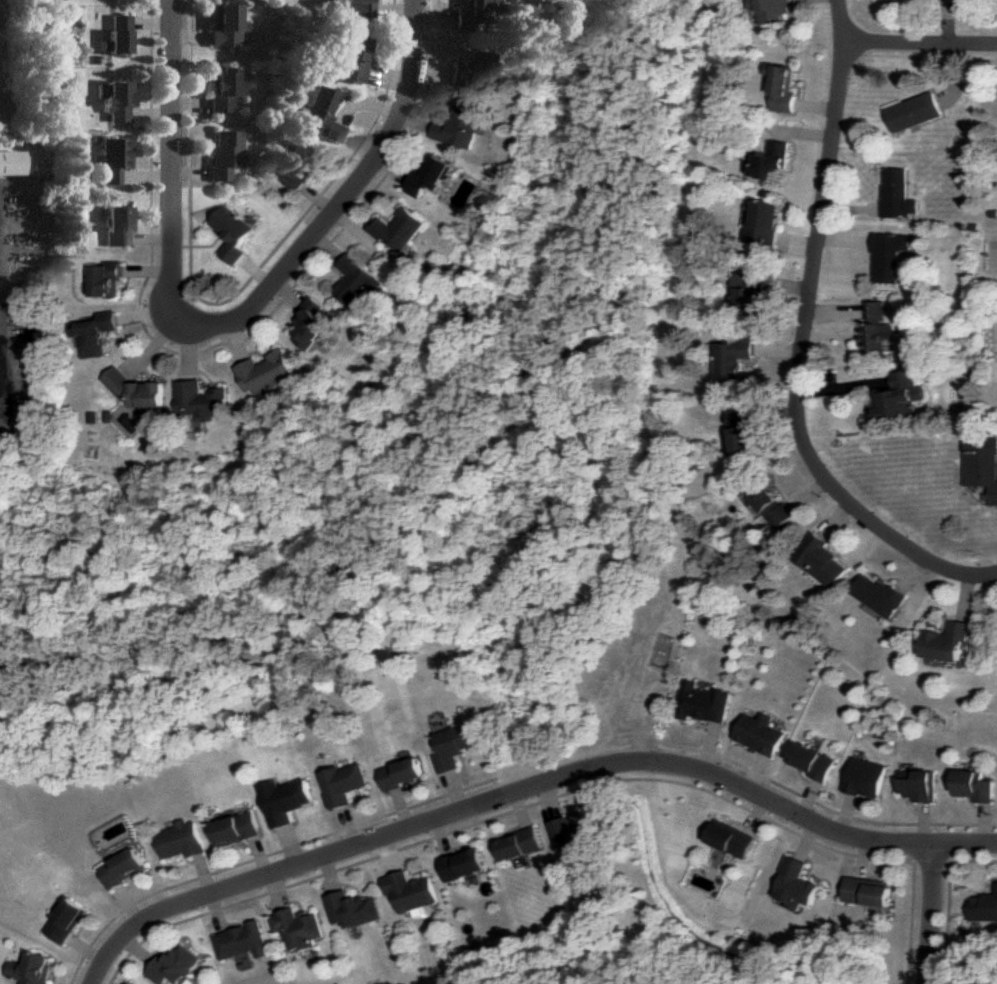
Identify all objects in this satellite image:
building: (357, 9)
building: (776, 11)
building: (474, 17)
building: (227, 28)
building: (119, 37)
road: (922, 41)
building: (352, 61)
building: (473, 72)
building: (222, 88)
building: (785, 88)
building: (118, 103)
building: (914, 112)
building: (324, 114)
building: (460, 128)
building: (226, 155)
road: (170, 157)
building: (116, 160)
building: (772, 162)
building: (10, 164)
building: (293, 169)
building: (433, 178)
building: (898, 196)
road: (342, 198)
building: (115, 225)
building: (766, 225)
building: (400, 232)
building: (233, 234)
building: (891, 255)
building: (106, 278)
building: (360, 281)
building: (754, 291)
road: (236, 293)
building: (317, 326)
building: (876, 327)
building: (98, 335)
road: (808, 341)
road: (223, 342)
building: (734, 359)
building: (269, 374)
building: (141, 394)
building: (903, 396)
building: (203, 400)
building: (742, 432)
building: (982, 463)
building: (773, 505)
building: (823, 560)
road: (995, 575)
building: (882, 597)
building: (951, 642)
building: (703, 704)
building: (760, 735)
road: (707, 745)
building: (456, 746)
building: (814, 761)
road: (757, 772)
road: (512, 773)
building: (403, 775)
building: (867, 777)
building: (920, 784)
building: (975, 785)
building: (343, 786)
road: (527, 791)
road: (457, 792)
road: (558, 796)
road: (809, 797)
building: (285, 802)
road: (550, 803)
road: (401, 811)
road: (520, 812)
road: (848, 813)
road: (757, 815)
road: (926, 820)
road: (986, 822)
road: (349, 828)
building: (237, 830)
building: (575, 837)
building: (734, 839)
road: (806, 839)
road: (441, 841)
building: (181, 842)
building: (523, 845)
road: (289, 848)
road: (864, 858)
road: (257, 859)
road: (386, 859)
road: (935, 861)
building: (465, 867)
building: (123, 870)
road: (201, 876)
road: (328, 877)
building: (794, 884)
building: (869, 891)
building: (411, 893)
road: (274, 895)
road: (952, 902)
road: (127, 905)
building: (985, 907)
building: (353, 910)
road: (932, 912)
road: (215, 914)
building: (67, 922)
building: (300, 930)
building: (242, 942)
road: (86, 950)
road: (137, 951)
building: (174, 967)
building: (32, 971)

